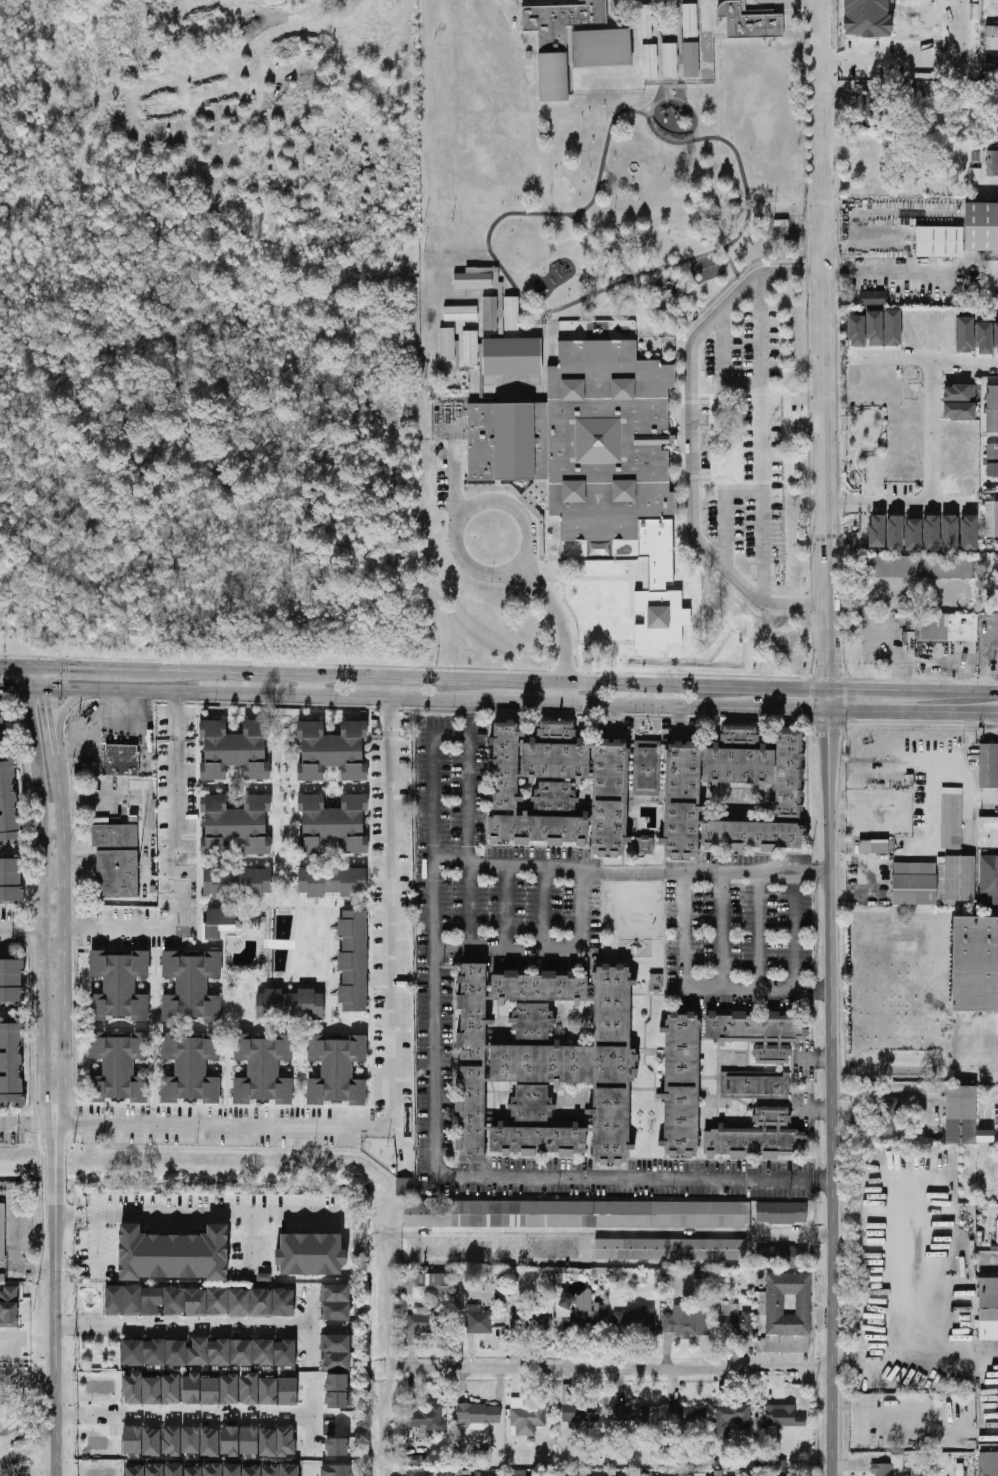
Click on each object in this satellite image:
road: (792, 2)
building: (583, 3)
road: (805, 5)
building: (756, 11)
building: (626, 15)
building: (692, 20)
building: (646, 21)
building: (752, 23)
road: (682, 32)
building: (683, 33)
building: (659, 35)
building: (991, 37)
building: (560, 43)
building: (605, 49)
building: (651, 61)
building: (672, 61)
building: (693, 61)
road: (920, 64)
road: (659, 98)
road: (686, 101)
park: (470, 105)
building: (872, 109)
road: (608, 134)
building: (992, 163)
road: (629, 191)
building: (981, 225)
building: (939, 241)
road: (894, 267)
road: (632, 276)
building: (475, 279)
road: (637, 285)
building: (502, 297)
building: (873, 297)
building: (463, 312)
building: (492, 313)
building: (512, 313)
building: (892, 327)
building: (874, 328)
building: (856, 330)
building: (965, 334)
building: (996, 337)
building: (984, 338)
road: (548, 340)
building: (448, 343)
road: (662, 344)
building: (472, 346)
building: (482, 354)
building: (461, 355)
building: (515, 355)
road: (964, 359)
road: (758, 385)
building: (959, 392)
road: (746, 393)
building: (992, 409)
building: (959, 410)
building: (588, 439)
road: (683, 439)
road: (689, 440)
road: (932, 446)
road: (453, 481)
road: (747, 483)
road: (760, 496)
road: (487, 500)
building: (525, 500)
road: (554, 519)
building: (991, 519)
building: (877, 530)
building: (895, 532)
building: (931, 533)
building: (949, 533)
building: (969, 533)
building: (913, 534)
road: (554, 543)
building: (913, 566)
road: (578, 579)
building: (661, 592)
building: (593, 604)
road: (558, 616)
building: (948, 627)
building: (910, 636)
road: (882, 637)
road: (965, 660)
traffic signals: (68, 668)
road: (765, 676)
road: (499, 679)
road: (36, 682)
road: (314, 685)
traffic signals: (15, 687)
road: (565, 692)
road: (252, 693)
road: (535, 701)
traffic signals: (41, 705)
road: (67, 707)
road: (781, 707)
road: (387, 716)
road: (469, 716)
road: (43, 717)
building: (0, 724)
road: (142, 726)
road: (992, 727)
road: (34, 731)
road: (96, 734)
road: (828, 737)
road: (47, 747)
building: (235, 749)
building: (332, 750)
building: (120, 759)
building: (986, 765)
building: (646, 767)
road: (942, 781)
building: (558, 788)
building: (682, 798)
building: (8, 802)
road: (996, 805)
building: (950, 817)
building: (333, 823)
building: (235, 824)
road: (929, 828)
building: (987, 832)
building: (114, 835)
road: (469, 842)
building: (644, 845)
building: (872, 846)
road: (871, 863)
road: (176, 866)
road: (631, 872)
building: (118, 873)
building: (989, 876)
building: (955, 878)
building: (10, 879)
building: (237, 882)
building: (333, 882)
building: (913, 883)
road: (505, 907)
road: (544, 908)
road: (581, 912)
road: (682, 915)
building: (220, 922)
road: (21, 930)
road: (794, 930)
road: (721, 931)
road: (759, 931)
road: (64, 941)
road: (42, 947)
building: (353, 960)
building: (975, 964)
building: (11, 980)
building: (655, 980)
building: (119, 984)
building: (192, 986)
road: (813, 990)
building: (290, 1004)
building: (758, 1032)
road: (977, 1054)
building: (11, 1062)
road: (815, 1062)
building: (545, 1064)
building: (118, 1067)
building: (190, 1068)
building: (263, 1069)
building: (336, 1070)
building: (754, 1083)
building: (681, 1084)
road: (389, 1088)
road: (815, 1111)
building: (889, 1116)
building: (963, 1117)
road: (26, 1126)
road: (63, 1127)
road: (433, 1134)
building: (756, 1137)
building: (404, 1186)
building: (781, 1212)
road: (205, 1213)
road: (64, 1214)
building: (576, 1214)
building: (2, 1230)
road: (618, 1233)
road: (16, 1236)
road: (252, 1244)
road: (97, 1245)
building: (491, 1248)
building: (669, 1249)
building: (173, 1254)
building: (311, 1254)
building: (783, 1257)
road: (26, 1268)
building: (2, 1277)
building: (431, 1285)
road: (54, 1301)
building: (200, 1301)
building: (335, 1301)
building: (564, 1304)
building: (9, 1307)
building: (988, 1307)
building: (588, 1309)
building: (787, 1313)
building: (478, 1319)
building: (683, 1320)
building: (734, 1320)
building: (421, 1321)
building: (633, 1321)
road: (191, 1323)
road: (64, 1324)
road: (309, 1327)
road: (10, 1340)
park: (97, 1352)
building: (208, 1352)
building: (335, 1352)
road: (622, 1368)
building: (171, 1388)
building: (229, 1388)
building: (141, 1389)
building: (199, 1389)
building: (257, 1389)
building: (287, 1391)
building: (337, 1391)
building: (578, 1407)
building: (672, 1413)
building: (631, 1414)
road: (65, 1415)
road: (193, 1415)
road: (311, 1415)
building: (424, 1415)
building: (478, 1415)
building: (693, 1416)
building: (783, 1416)
building: (732, 1418)
building: (528, 1419)
building: (141, 1440)
building: (171, 1440)
building: (200, 1440)
building: (229, 1440)
building: (267, 1441)
building: (337, 1446)
building: (412, 1459)
building: (988, 1463)
road: (27, 1465)
building: (888, 1467)
building: (173, 1469)
building: (232, 1469)
building: (154, 1470)
building: (213, 1470)
building: (280, 1470)
building: (337, 1470)
building: (134, 1471)
building: (193, 1471)
building: (251, 1471)
building: (412, 1472)
building: (518, 1472)
road: (308, 1473)
building: (454, 1473)
building: (554, 1473)
building: (488, 1475)
building: (597, 1475)
building: (615, 1475)
building: (678, 1475)

